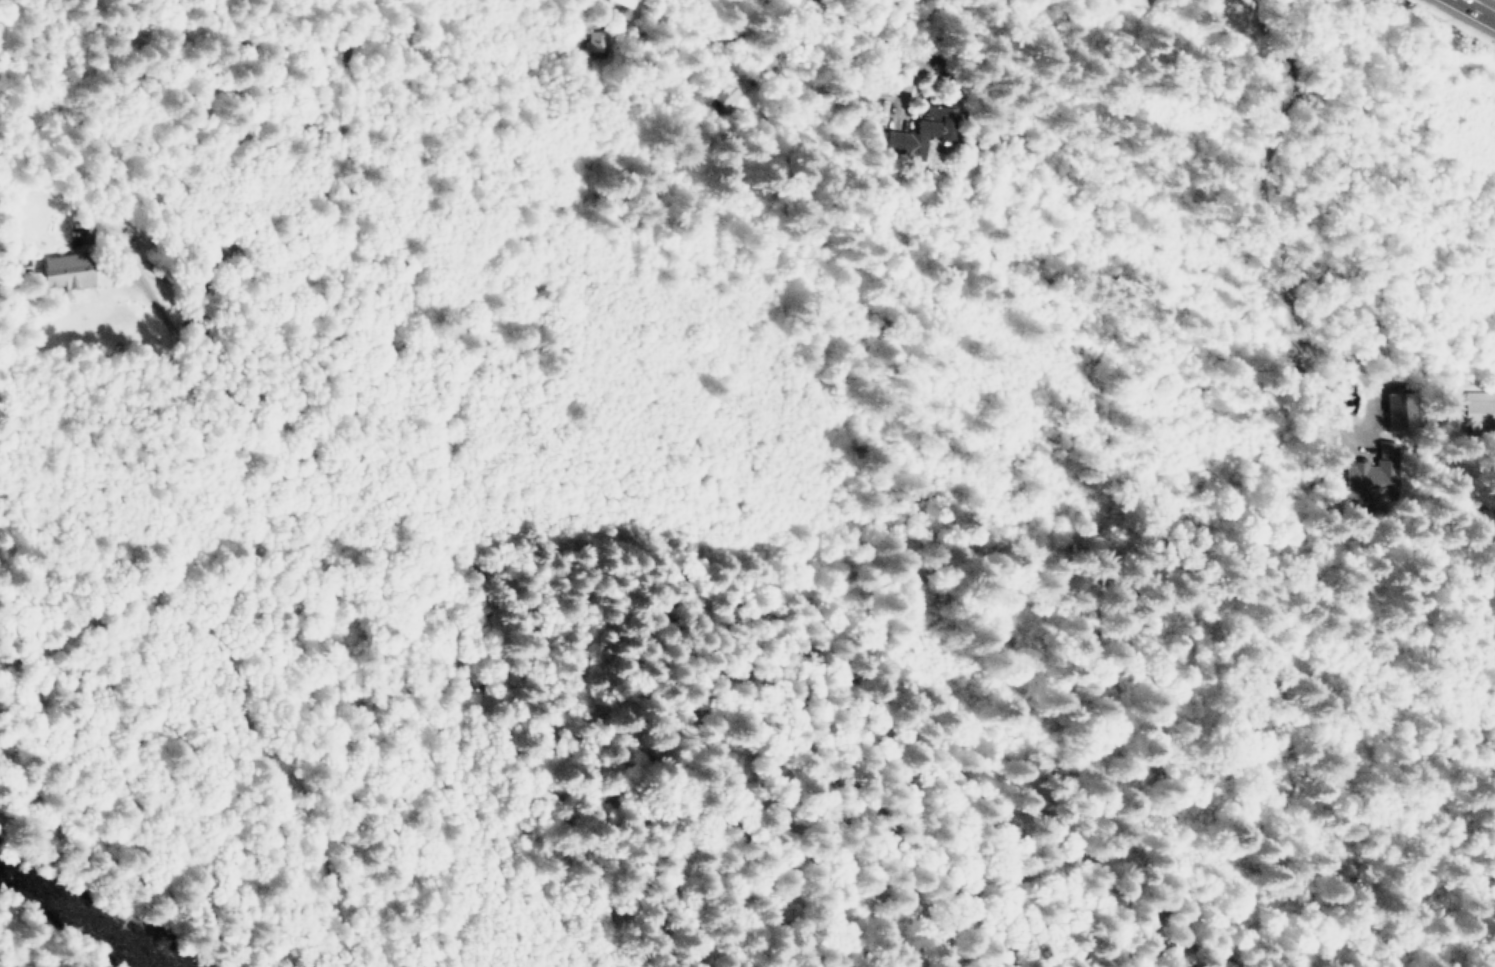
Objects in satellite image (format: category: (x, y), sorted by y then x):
road: (1491, 1)
road: (788, 33)
building: (598, 42)
road: (1025, 78)
building: (724, 96)
building: (881, 111)
building: (920, 133)
building: (69, 272)
road: (135, 276)
road: (332, 278)
building: (1479, 401)
building: (1402, 411)
building: (1373, 475)
river: (84, 915)

